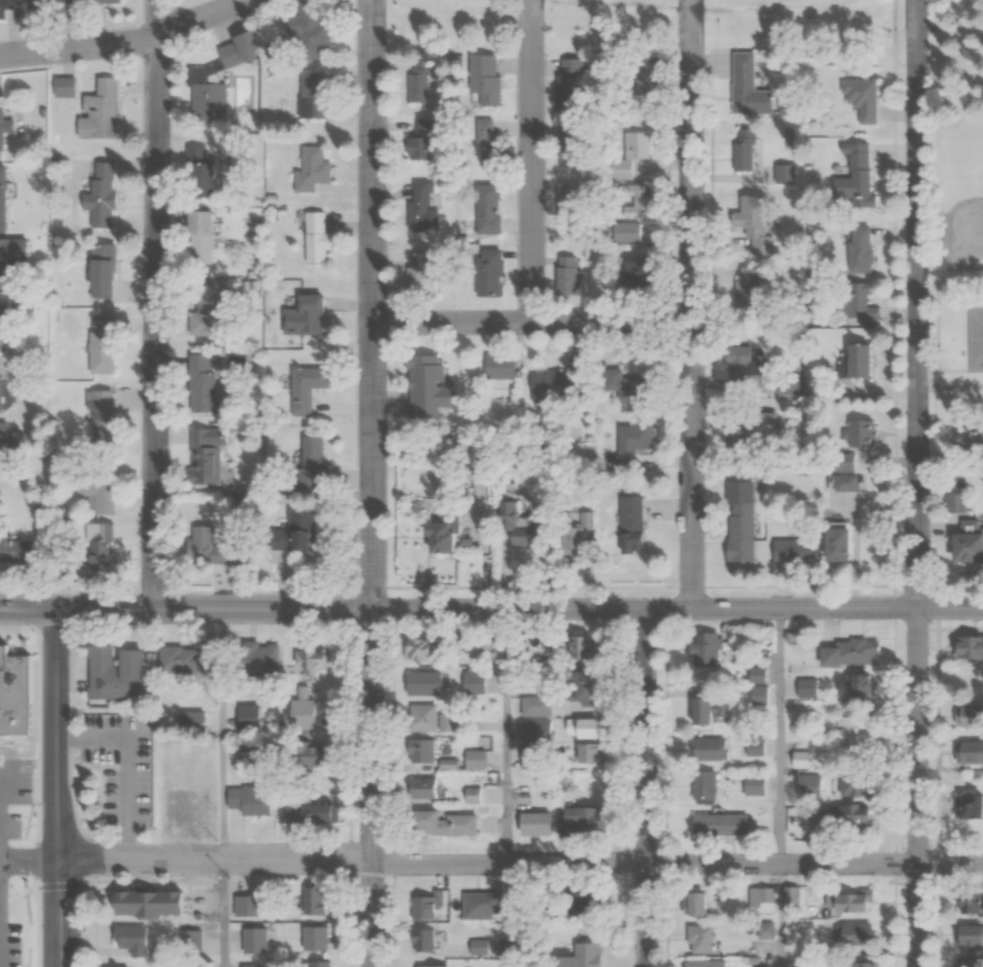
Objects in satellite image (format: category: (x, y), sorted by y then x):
building: (111, 1)
building: (8, 5)
building: (300, 33)
road: (125, 40)
building: (268, 52)
building: (229, 58)
building: (488, 81)
building: (572, 84)
building: (421, 85)
building: (751, 89)
building: (863, 100)
building: (305, 103)
building: (201, 104)
building: (104, 106)
building: (2, 118)
building: (424, 142)
building: (490, 144)
building: (639, 145)
building: (572, 147)
road: (527, 161)
building: (621, 171)
building: (305, 172)
building: (851, 180)
building: (210, 181)
building: (194, 183)
building: (4, 191)
park: (962, 191)
building: (104, 193)
building: (635, 203)
building: (424, 208)
building: (490, 209)
building: (570, 210)
building: (757, 227)
building: (627, 232)
park: (951, 237)
building: (318, 238)
building: (207, 239)
building: (307, 242)
building: (193, 244)
building: (851, 250)
building: (12, 253)
building: (105, 268)
building: (639, 271)
building: (494, 273)
building: (421, 275)
building: (566, 276)
building: (748, 283)
building: (827, 303)
road: (688, 304)
building: (859, 304)
road: (153, 305)
building: (198, 313)
road: (142, 314)
building: (318, 315)
building: (297, 319)
building: (6, 322)
road: (528, 322)
park: (972, 338)
building: (107, 341)
building: (744, 362)
building: (848, 365)
building: (503, 367)
building: (0, 383)
building: (563, 383)
building: (431, 387)
building: (631, 387)
building: (196, 388)
building: (298, 392)
building: (105, 414)
building: (744, 438)
building: (848, 438)
building: (4, 439)
building: (635, 445)
building: (462, 450)
building: (200, 462)
building: (316, 464)
building: (300, 468)
road: (370, 483)
road: (910, 483)
building: (99, 484)
building: (848, 484)
building: (959, 504)
building: (634, 515)
building: (307, 531)
building: (448, 532)
building: (579, 534)
building: (733, 534)
building: (532, 538)
road: (485, 540)
building: (972, 542)
building: (280, 544)
building: (639, 545)
building: (829, 547)
building: (847, 547)
building: (204, 550)
building: (93, 552)
building: (10, 554)
building: (786, 555)
road: (75, 591)
road: (491, 609)
road: (35, 628)
road: (106, 628)
building: (578, 647)
building: (965, 647)
building: (700, 649)
building: (412, 650)
building: (846, 653)
building: (309, 658)
building: (189, 661)
building: (271, 661)
building: (115, 674)
building: (755, 676)
building: (419, 682)
building: (471, 682)
road: (36, 683)
building: (857, 686)
building: (575, 690)
road: (70, 691)
building: (14, 694)
building: (532, 705)
building: (700, 709)
building: (304, 716)
building: (963, 716)
building: (253, 717)
building: (417, 717)
building: (443, 720)
building: (580, 728)
building: (853, 728)
building: (532, 731)
road: (780, 735)
road: (221, 736)
road: (505, 736)
road: (18, 740)
building: (3, 747)
road: (36, 747)
building: (753, 747)
building: (416, 750)
building: (968, 751)
building: (583, 752)
road: (52, 754)
building: (302, 755)
building: (471, 759)
road: (128, 763)
parking lot: (121, 765)
parking lot: (15, 785)
building: (701, 785)
building: (752, 785)
building: (805, 786)
building: (417, 787)
road: (646, 787)
road: (55, 788)
road: (12, 789)
building: (470, 794)
building: (250, 800)
road: (71, 802)
building: (192, 802)
building: (967, 806)
building: (307, 812)
building: (848, 815)
building: (578, 820)
building: (437, 822)
building: (531, 823)
building: (716, 824)
building: (761, 826)
road: (111, 841)
road: (94, 860)
road: (491, 863)
road: (47, 879)
road: (157, 881)
building: (312, 899)
building: (761, 900)
building: (477, 902)
building: (844, 902)
parking lot: (207, 903)
building: (689, 903)
building: (967, 903)
building: (153, 904)
building: (423, 904)
building: (583, 905)
road: (221, 915)
road: (505, 915)
road: (781, 915)
road: (94, 923)
building: (849, 933)
building: (312, 937)
building: (965, 937)
building: (421, 938)
building: (139, 939)
building: (193, 939)
building: (696, 939)
building: (254, 940)
building: (12, 947)
building: (584, 954)
building: (314, 963)
building: (703, 963)
building: (859, 964)
building: (427, 966)

